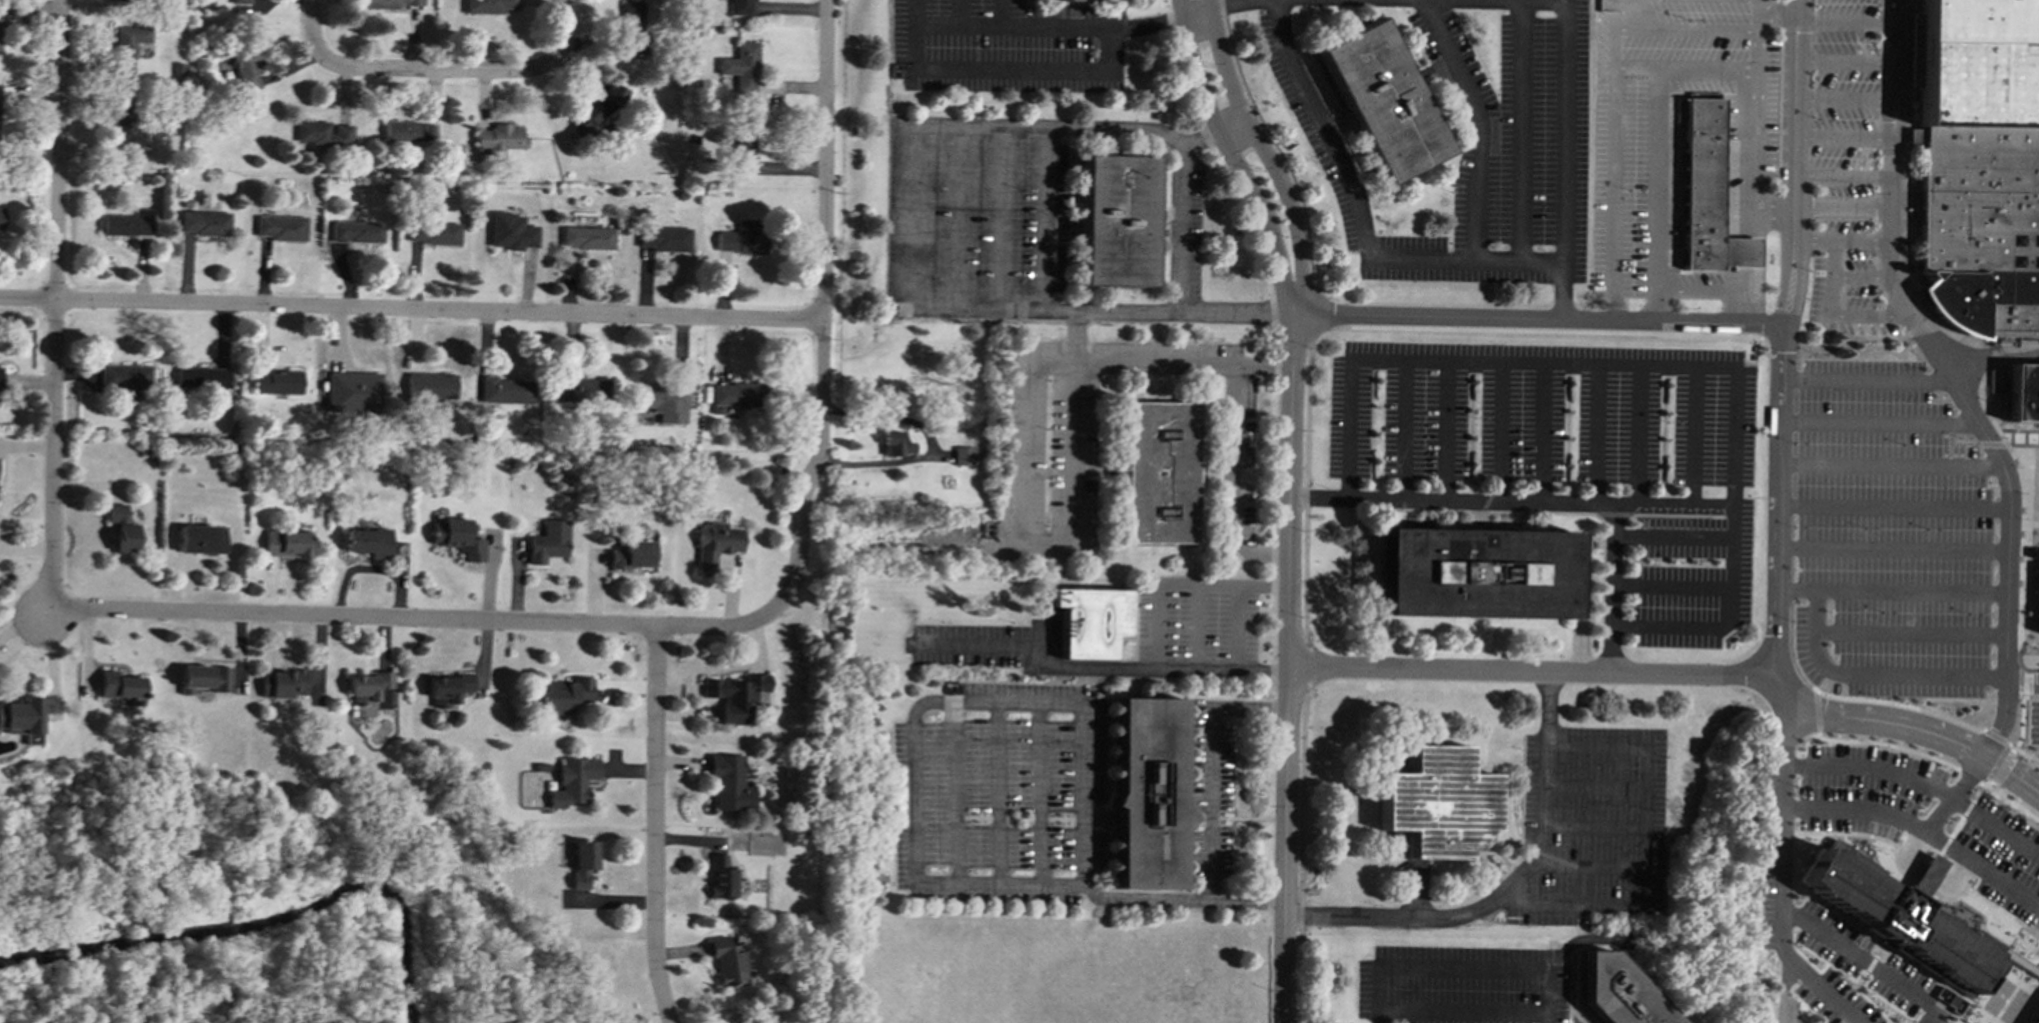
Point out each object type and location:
building: (124, 0)
building: (1065, 0)
building: (239, 1)
building: (392, 3)
road: (1564, 3)
building: (490, 6)
building: (741, 7)
road: (958, 12)
road: (1776, 13)
building: (0, 16)
road: (1183, 20)
road: (1843, 23)
road: (959, 25)
road: (1042, 27)
road: (311, 28)
building: (630, 28)
road: (1699, 30)
road: (560, 33)
road: (1611, 34)
parking lot: (1007, 46)
building: (126, 50)
road: (1842, 62)
building: (245, 64)
road: (997, 67)
road: (1683, 69)
road: (431, 70)
building: (725, 80)
parking lot: (1842, 95)
road: (972, 96)
building: (1380, 100)
road: (1842, 100)
road: (1755, 119)
road: (1479, 124)
building: (127, 130)
building: (404, 131)
road: (1516, 131)
road: (1212, 133)
building: (324, 134)
road: (1792, 137)
building: (498, 138)
road: (1841, 139)
road: (1270, 142)
building: (740, 146)
road: (57, 150)
road: (1263, 156)
road: (1229, 159)
road: (823, 160)
building: (1978, 164)
road: (1841, 176)
building: (1704, 193)
road: (1611, 194)
road: (1652, 195)
road: (1822, 208)
road: (954, 216)
building: (0, 217)
road: (1001, 217)
road: (1041, 218)
building: (1114, 220)
building: (204, 222)
building: (128, 223)
building: (281, 227)
road: (1180, 230)
building: (511, 231)
building: (357, 232)
building: (434, 233)
building: (587, 237)
building: (664, 238)
building: (742, 238)
road: (1812, 238)
road: (1860, 239)
road: (1463, 259)
road: (906, 271)
road: (1833, 277)
road: (1859, 278)
parking lot: (1847, 281)
road: (1710, 291)
road: (1558, 292)
road: (1788, 299)
road: (28, 300)
road: (439, 311)
road: (1867, 316)
road: (1309, 317)
road: (1516, 319)
road: (1761, 322)
road: (1128, 364)
road: (1602, 364)
building: (201, 378)
building: (125, 379)
road: (1864, 379)
road: (1948, 380)
building: (278, 381)
building: (0, 382)
building: (430, 387)
building: (506, 390)
building: (584, 391)
building: (354, 392)
building: (2022, 392)
building: (735, 395)
building: (664, 401)
road: (1877, 420)
road: (1403, 431)
road: (1445, 432)
road: (1498, 433)
road: (1541, 434)
road: (1595, 435)
road: (1635, 436)
road: (1692, 438)
road: (929, 442)
building: (895, 443)
road: (54, 453)
building: (963, 455)
road: (1237, 458)
road: (1891, 463)
building: (1159, 472)
road: (813, 473)
road: (1779, 479)
road: (1290, 491)
road: (1306, 493)
road: (1756, 497)
road: (1894, 504)
road: (1532, 505)
building: (2037, 521)
building: (122, 528)
parking lot: (1887, 536)
building: (458, 538)
building: (202, 539)
building: (550, 541)
building: (370, 542)
building: (288, 543)
building: (717, 543)
road: (1021, 544)
road: (1893, 548)
building: (635, 554)
building: (1475, 573)
road: (1709, 587)
road: (1202, 588)
road: (1892, 591)
road: (1157, 606)
road: (48, 611)
road: (411, 619)
building: (1089, 620)
road: (1238, 627)
road: (1685, 628)
road: (1911, 633)
road: (1779, 662)
road: (1094, 665)
road: (1304, 666)
road: (1536, 670)
road: (1876, 675)
building: (204, 678)
road: (2023, 683)
road: (2026, 683)
building: (121, 686)
building: (285, 686)
building: (374, 689)
building: (451, 689)
building: (567, 695)
building: (740, 697)
road: (984, 702)
road: (1783, 706)
road: (1816, 711)
road: (1932, 713)
building: (23, 719)
road: (2023, 721)
parking lot: (2034, 722)
road: (1914, 727)
road: (1888, 745)
road: (2002, 767)
road: (1973, 778)
building: (574, 781)
road: (1920, 781)
building: (731, 782)
building: (1147, 792)
building: (1435, 802)
road: (2013, 802)
road: (1211, 803)
parking lot: (1923, 819)
road: (1905, 823)
road: (655, 826)
road: (1542, 833)
road: (1287, 845)
road: (1301, 859)
building: (583, 862)
road: (1985, 871)
building: (721, 877)
road: (1780, 887)
road: (1625, 907)
park: (268, 914)
building: (1897, 916)
parking lot: (1834, 953)
building: (728, 959)
road: (1865, 961)
building: (2018, 962)
road: (1460, 973)
building: (1618, 992)
road: (1459, 1008)
building: (2035, 1018)

